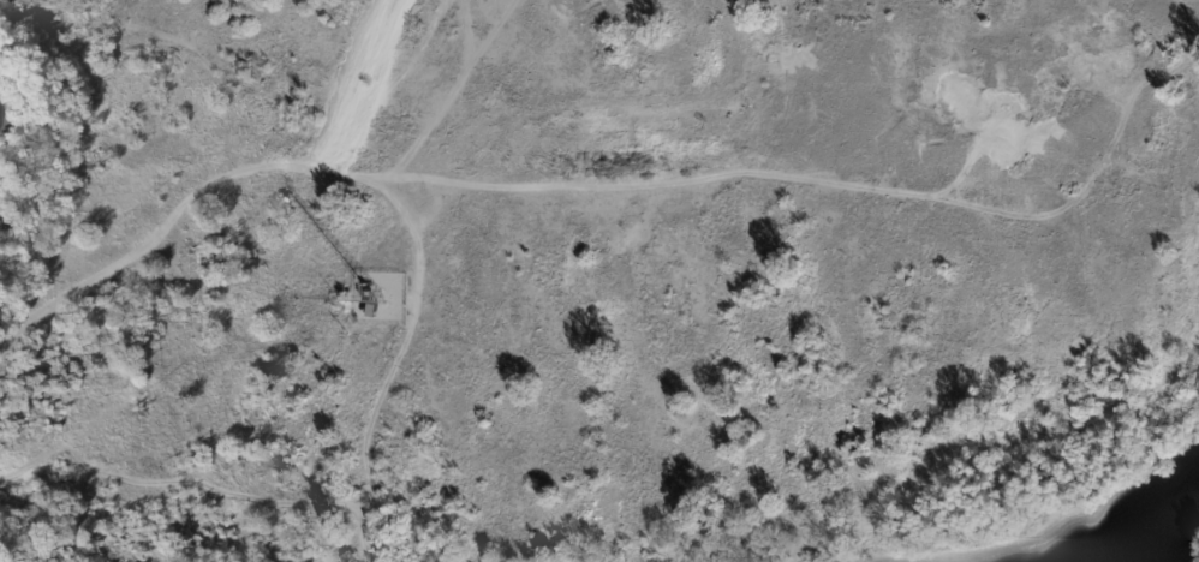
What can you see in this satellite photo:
road: (451, 92)
road: (1109, 139)
road: (451, 181)
road: (416, 237)
building: (215, 261)
building: (374, 313)
road: (364, 430)

